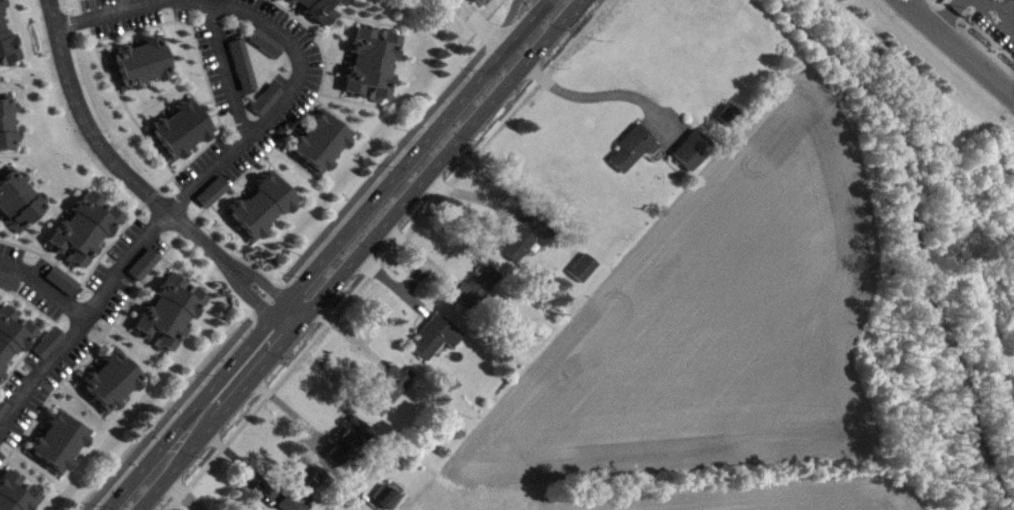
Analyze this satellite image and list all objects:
road: (181, 0)
building: (220, 1)
building: (476, 1)
building: (337, 2)
building: (314, 10)
building: (260, 41)
building: (5, 42)
road: (957, 49)
building: (367, 58)
building: (137, 59)
building: (238, 62)
road: (230, 68)
building: (261, 96)
road: (599, 101)
building: (269, 104)
building: (4, 122)
building: (177, 127)
building: (314, 139)
road: (399, 143)
building: (627, 145)
building: (686, 146)
road: (139, 183)
road: (468, 194)
building: (215, 196)
building: (16, 201)
building: (256, 204)
building: (81, 223)
building: (520, 232)
road: (146, 233)
road: (325, 254)
road: (361, 255)
road: (383, 255)
road: (422, 258)
building: (578, 264)
building: (147, 268)
building: (585, 272)
building: (58, 277)
building: (10, 284)
building: (471, 284)
road: (392, 285)
road: (45, 286)
road: (265, 298)
building: (166, 309)
road: (337, 328)
building: (11, 333)
building: (431, 333)
building: (44, 339)
building: (52, 347)
building: (107, 379)
building: (386, 385)
road: (287, 410)
road: (169, 411)
building: (4, 413)
building: (343, 437)
building: (55, 438)
building: (351, 444)
building: (295, 487)
building: (381, 494)
building: (17, 495)

